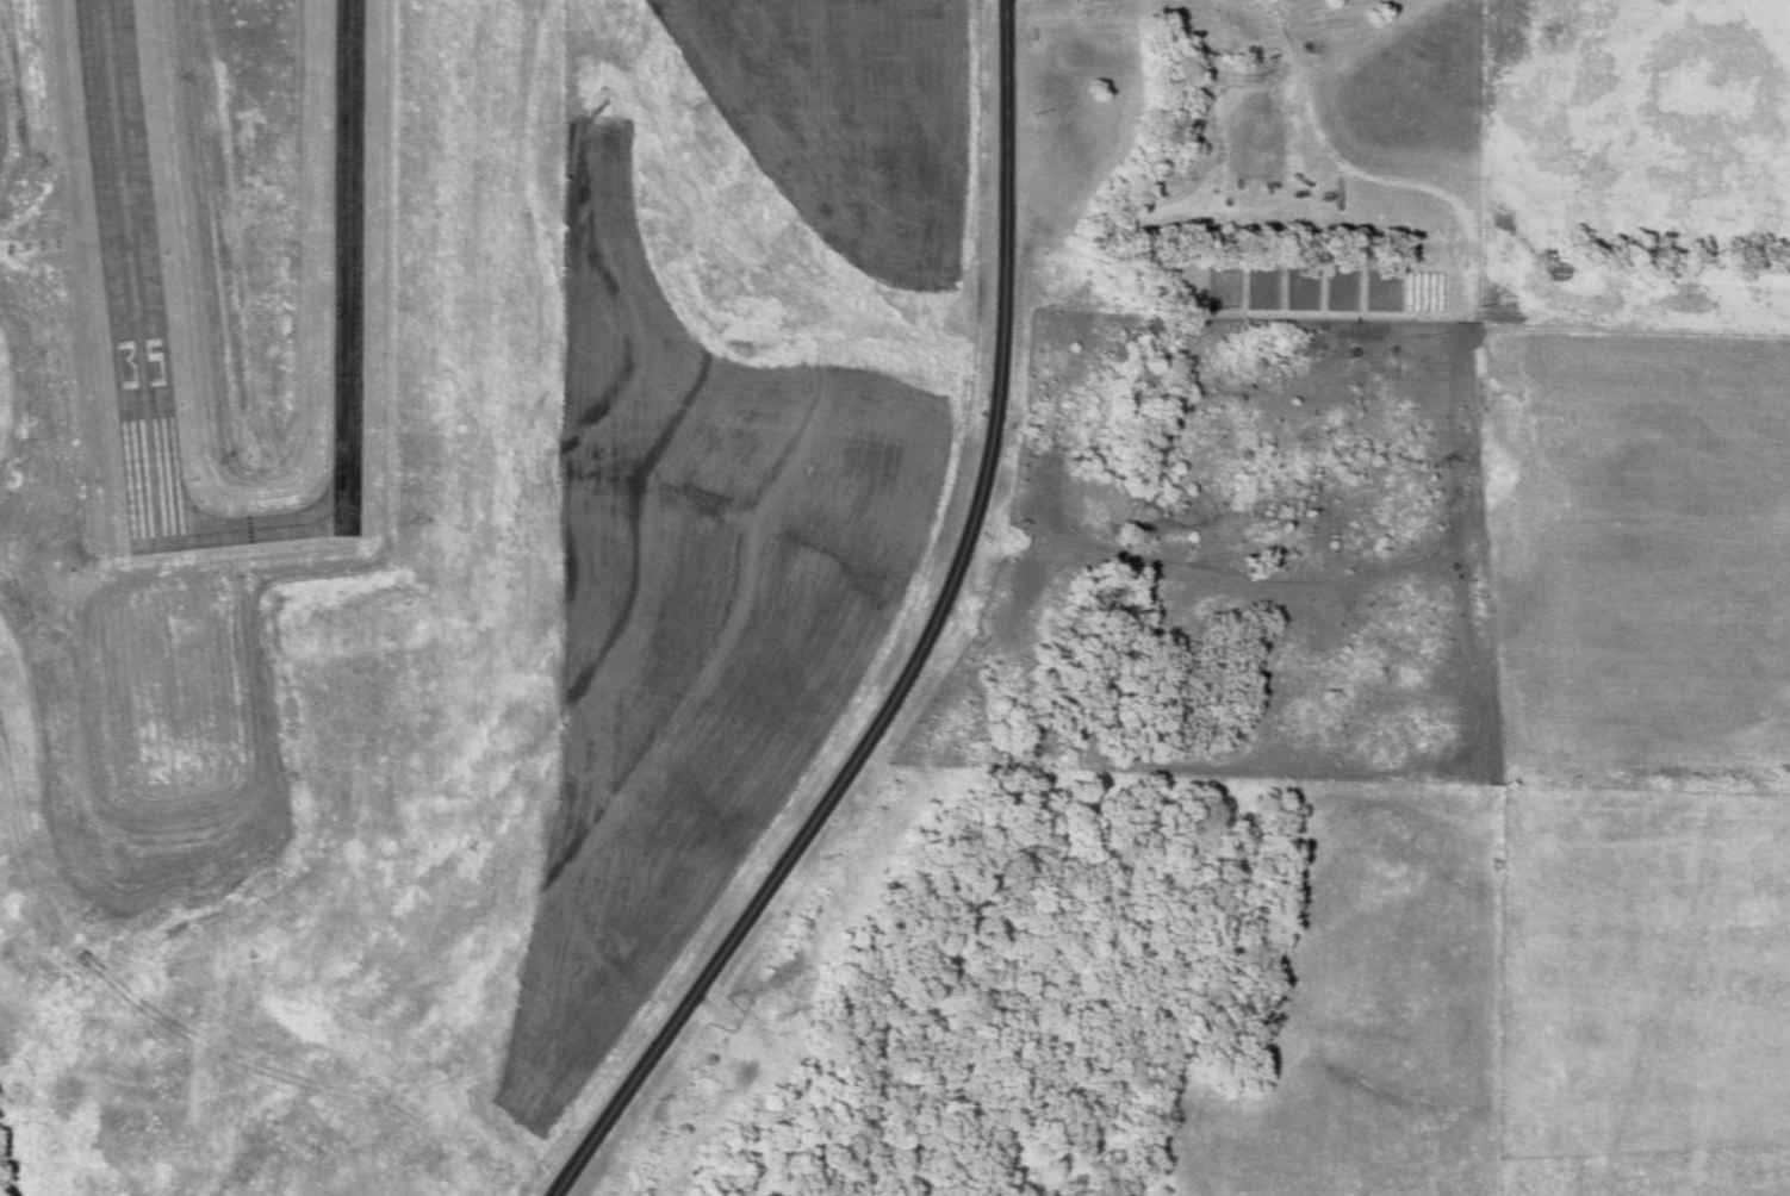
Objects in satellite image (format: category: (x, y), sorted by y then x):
airport runway: (123, 279)
airport taxiway: (342, 354)
airport: (440, 541)
road: (918, 647)

